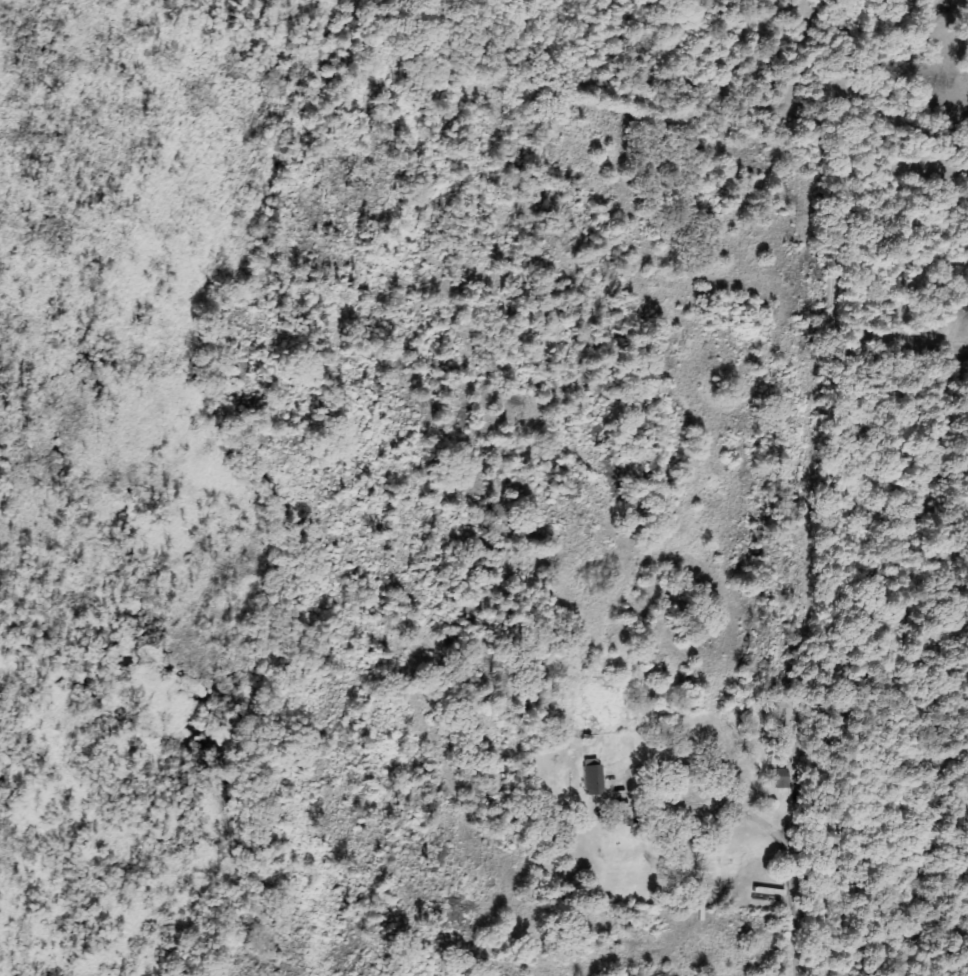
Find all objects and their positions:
building: (779, 779)
building: (593, 781)
road: (758, 825)

